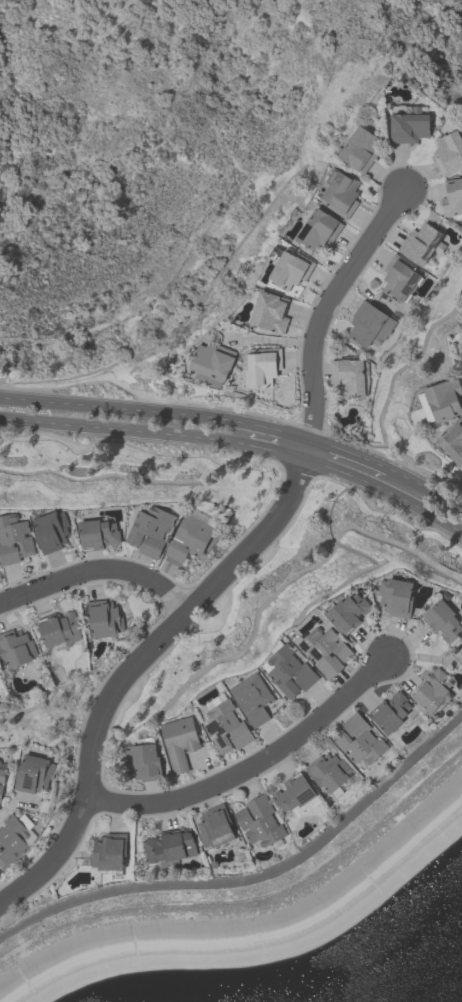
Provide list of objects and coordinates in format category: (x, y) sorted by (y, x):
building: (410, 126)
park: (170, 140)
building: (360, 150)
building: (449, 153)
building: (341, 195)
building: (452, 198)
building: (318, 230)
building: (420, 244)
building: (290, 269)
building: (399, 278)
road: (328, 305)
building: (269, 312)
building: (369, 325)
building: (460, 344)
building: (460, 355)
building: (212, 364)
building: (262, 366)
building: (346, 378)
building: (444, 399)
road: (154, 412)
road: (123, 431)
building: (452, 441)
road: (275, 451)
road: (348, 452)
road: (425, 488)
road: (384, 491)
building: (52, 530)
building: (151, 531)
building: (98, 534)
building: (191, 538)
building: (15, 540)
road: (99, 575)
building: (396, 597)
building: (351, 611)
building: (104, 620)
building: (443, 621)
building: (62, 629)
building: (461, 641)
building: (17, 649)
building: (326, 652)
road: (137, 666)
building: (290, 673)
building: (434, 691)
building: (253, 699)
building: (392, 714)
building: (227, 729)
building: (361, 740)
building: (180, 742)
building: (0, 762)
building: (143, 762)
road: (253, 767)
building: (328, 772)
building: (35, 775)
building: (3, 776)
building: (1, 793)
building: (294, 793)
building: (259, 823)
building: (217, 827)
building: (12, 844)
building: (172, 846)
building: (111, 854)
road: (255, 877)
dam: (337, 885)

